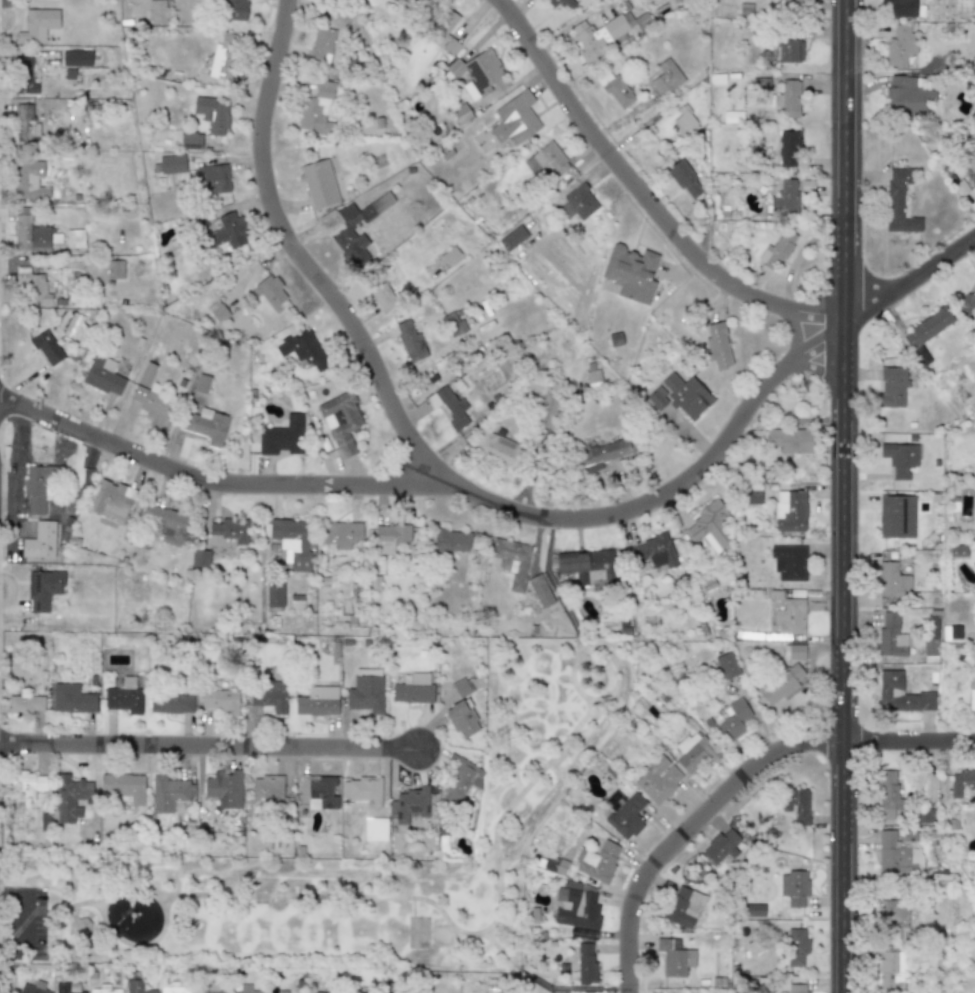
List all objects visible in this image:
building: (417, 1)
building: (562, 3)
building: (787, 3)
road: (520, 7)
building: (900, 7)
building: (232, 9)
building: (157, 11)
building: (38, 24)
building: (446, 24)
building: (322, 43)
building: (901, 46)
building: (789, 50)
building: (223, 56)
building: (76, 58)
building: (480, 71)
building: (25, 76)
building: (666, 77)
building: (615, 89)
building: (906, 95)
building: (784, 101)
building: (316, 109)
building: (461, 113)
building: (213, 114)
building: (515, 119)
building: (684, 121)
building: (25, 125)
building: (191, 140)
building: (787, 147)
building: (546, 159)
building: (968, 163)
building: (172, 164)
building: (27, 179)
building: (213, 179)
building: (684, 179)
building: (319, 184)
road: (645, 194)
building: (786, 197)
building: (580, 201)
building: (898, 201)
building: (346, 229)
building: (229, 231)
building: (32, 232)
building: (512, 237)
building: (75, 238)
building: (776, 249)
building: (450, 256)
building: (115, 268)
building: (630, 272)
building: (32, 285)
building: (271, 292)
building: (381, 295)
building: (967, 302)
building: (217, 310)
building: (454, 324)
building: (927, 327)
road: (793, 331)
building: (615, 339)
building: (410, 340)
building: (718, 346)
building: (47, 347)
building: (304, 349)
road: (813, 368)
building: (146, 374)
building: (103, 375)
building: (593, 377)
building: (201, 383)
building: (892, 386)
building: (680, 395)
building: (152, 403)
building: (449, 406)
building: (546, 410)
building: (341, 421)
building: (207, 425)
building: (282, 436)
building: (790, 440)
building: (498, 448)
building: (601, 453)
building: (900, 458)
building: (40, 485)
road: (220, 486)
building: (753, 494)
road: (842, 496)
building: (111, 500)
road: (488, 504)
building: (790, 510)
building: (896, 516)
building: (167, 523)
building: (709, 524)
building: (228, 532)
building: (340, 533)
building: (389, 537)
building: (40, 540)
building: (451, 540)
building: (292, 541)
building: (957, 550)
building: (656, 551)
building: (200, 558)
building: (512, 559)
building: (789, 561)
building: (587, 566)
building: (891, 580)
building: (43, 588)
building: (540, 590)
building: (274, 593)
building: (790, 616)
building: (951, 632)
building: (931, 634)
building: (891, 635)
building: (794, 651)
building: (727, 665)
road: (574, 679)
road: (607, 679)
building: (781, 684)
building: (461, 687)
building: (414, 689)
building: (366, 694)
building: (901, 694)
building: (269, 695)
building: (124, 696)
building: (72, 698)
building: (971, 699)
building: (221, 700)
building: (317, 701)
building: (171, 703)
building: (26, 704)
building: (462, 719)
building: (733, 719)
road: (210, 746)
building: (695, 751)
park: (530, 772)
building: (461, 779)
building: (657, 780)
building: (30, 782)
building: (961, 782)
building: (123, 786)
building: (268, 787)
building: (224, 788)
road: (743, 788)
building: (362, 789)
building: (318, 791)
building: (167, 793)
building: (889, 795)
building: (70, 797)
building: (409, 804)
building: (796, 804)
building: (923, 814)
building: (626, 817)
building: (375, 827)
building: (721, 846)
building: (899, 852)
building: (598, 860)
building: (794, 887)
road: (403, 901)
building: (577, 905)
building: (684, 907)
road: (23, 909)
building: (896, 920)
building: (82, 925)
building: (796, 946)
road: (138, 949)
building: (674, 957)
building: (586, 962)
building: (892, 969)
road: (552, 985)
building: (136, 986)
building: (33, 987)
building: (67, 987)
building: (797, 988)
building: (104, 989)
building: (174, 989)
building: (245, 989)
building: (210, 991)
building: (282, 991)
building: (351, 991)
building: (321, 992)

